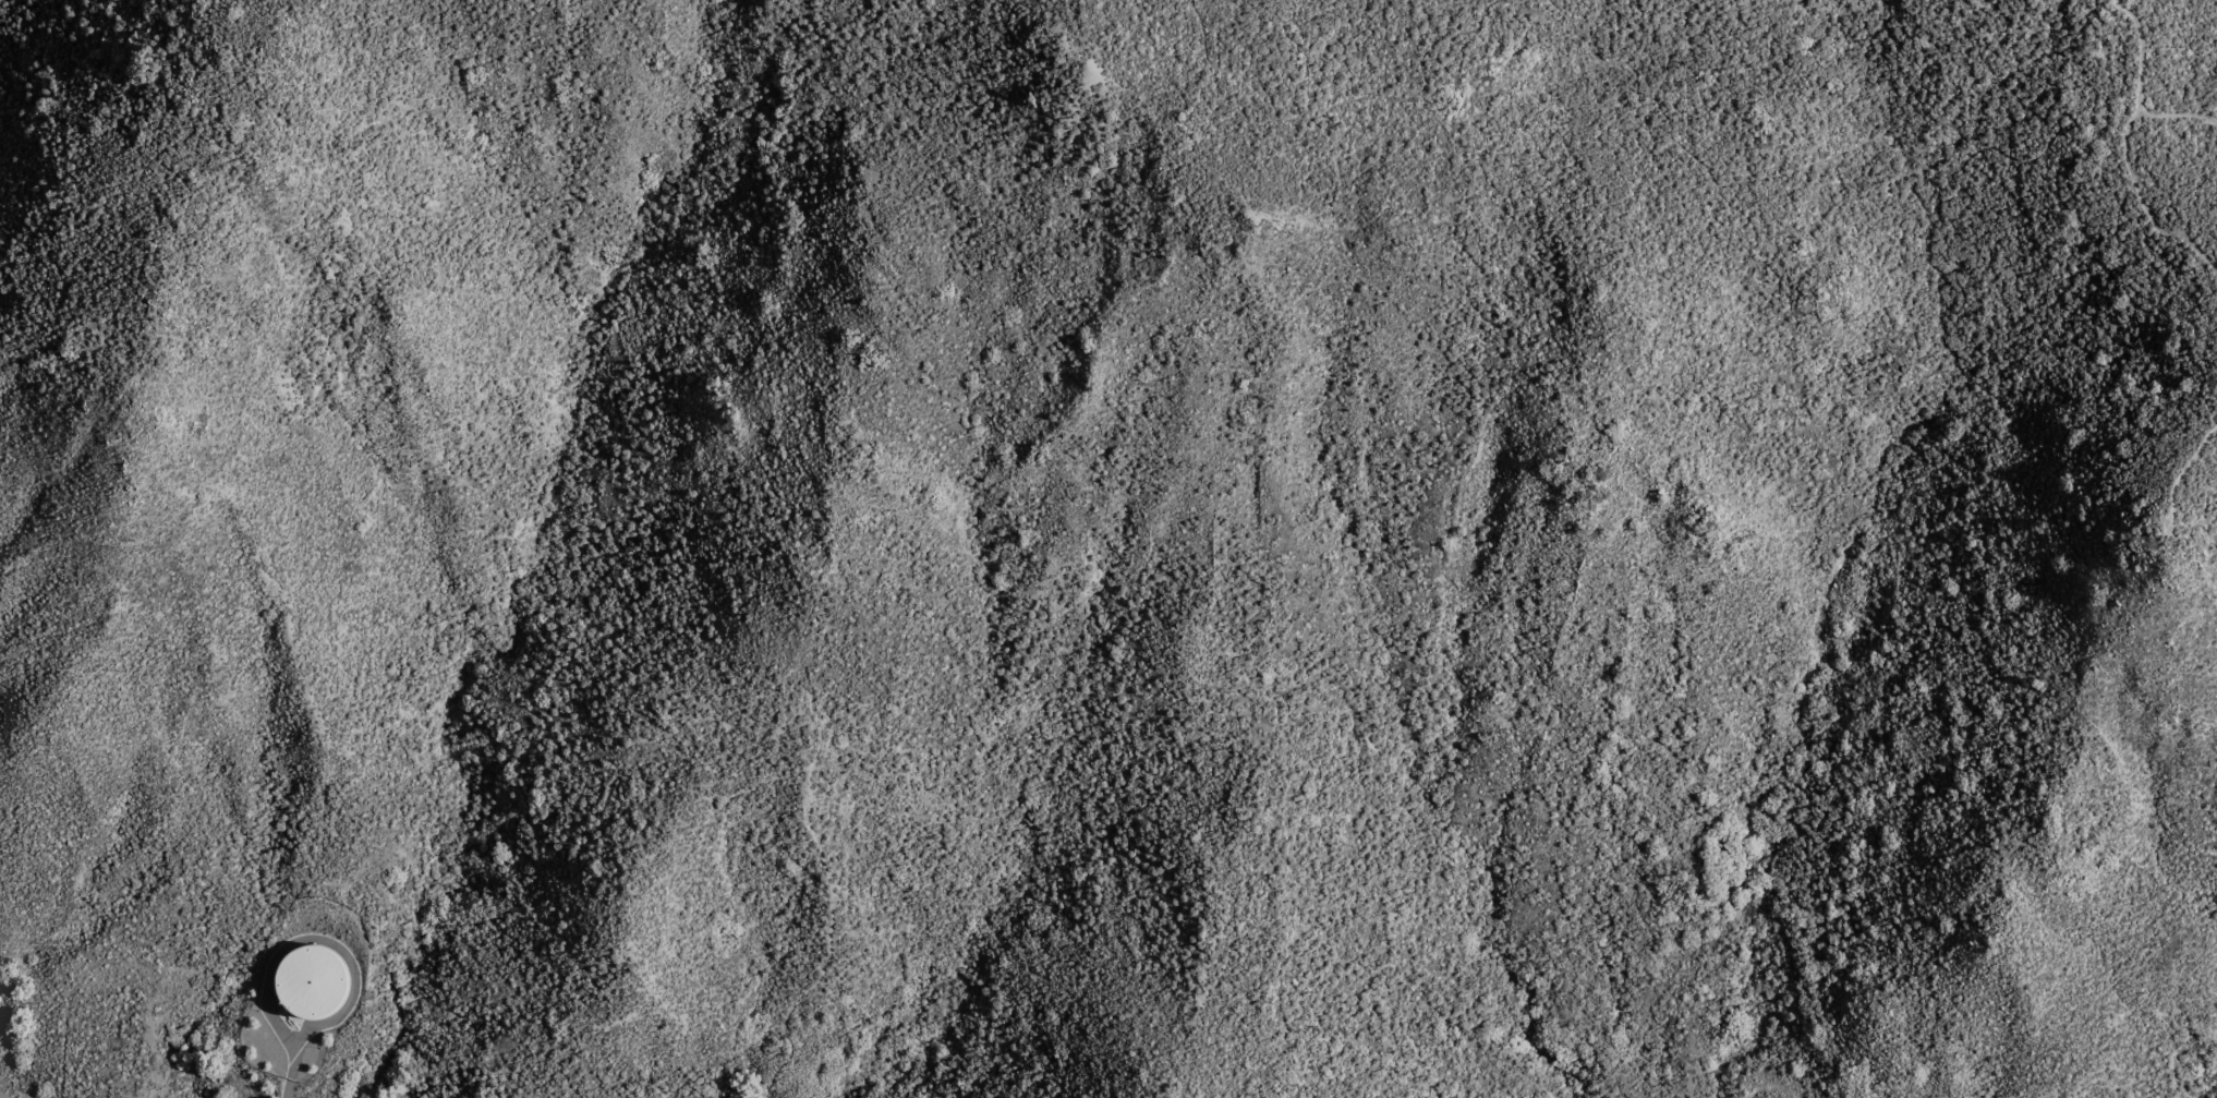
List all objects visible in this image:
building: (312, 981)
road: (283, 1067)

